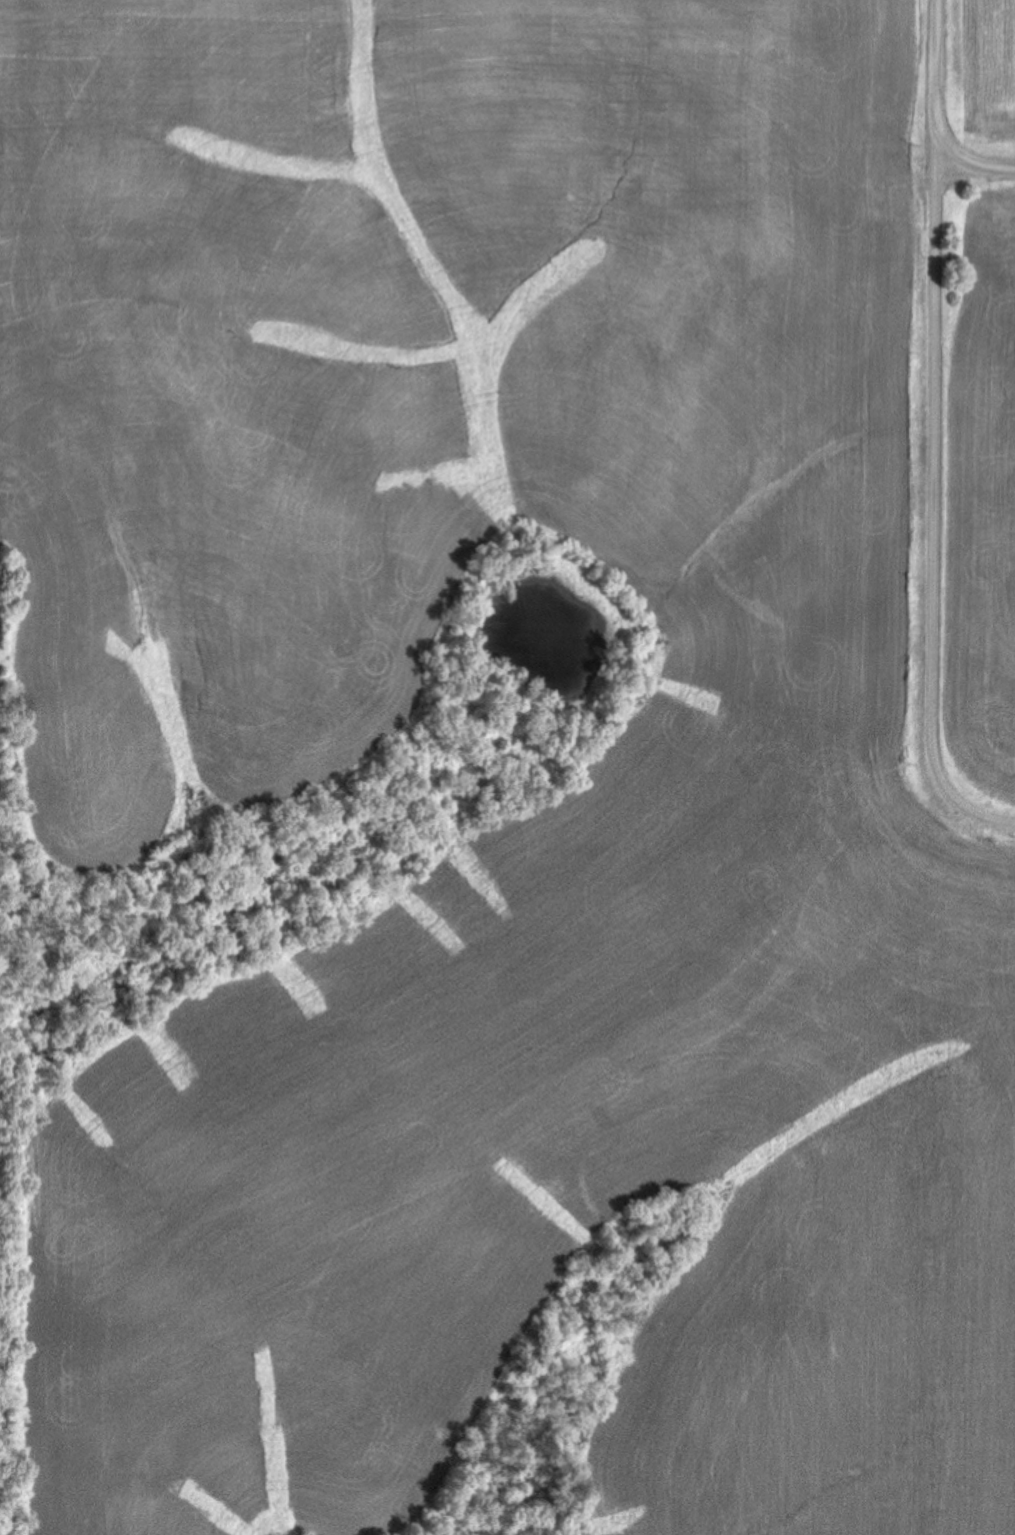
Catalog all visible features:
road: (976, 170)
road: (937, 435)
river: (547, 658)

